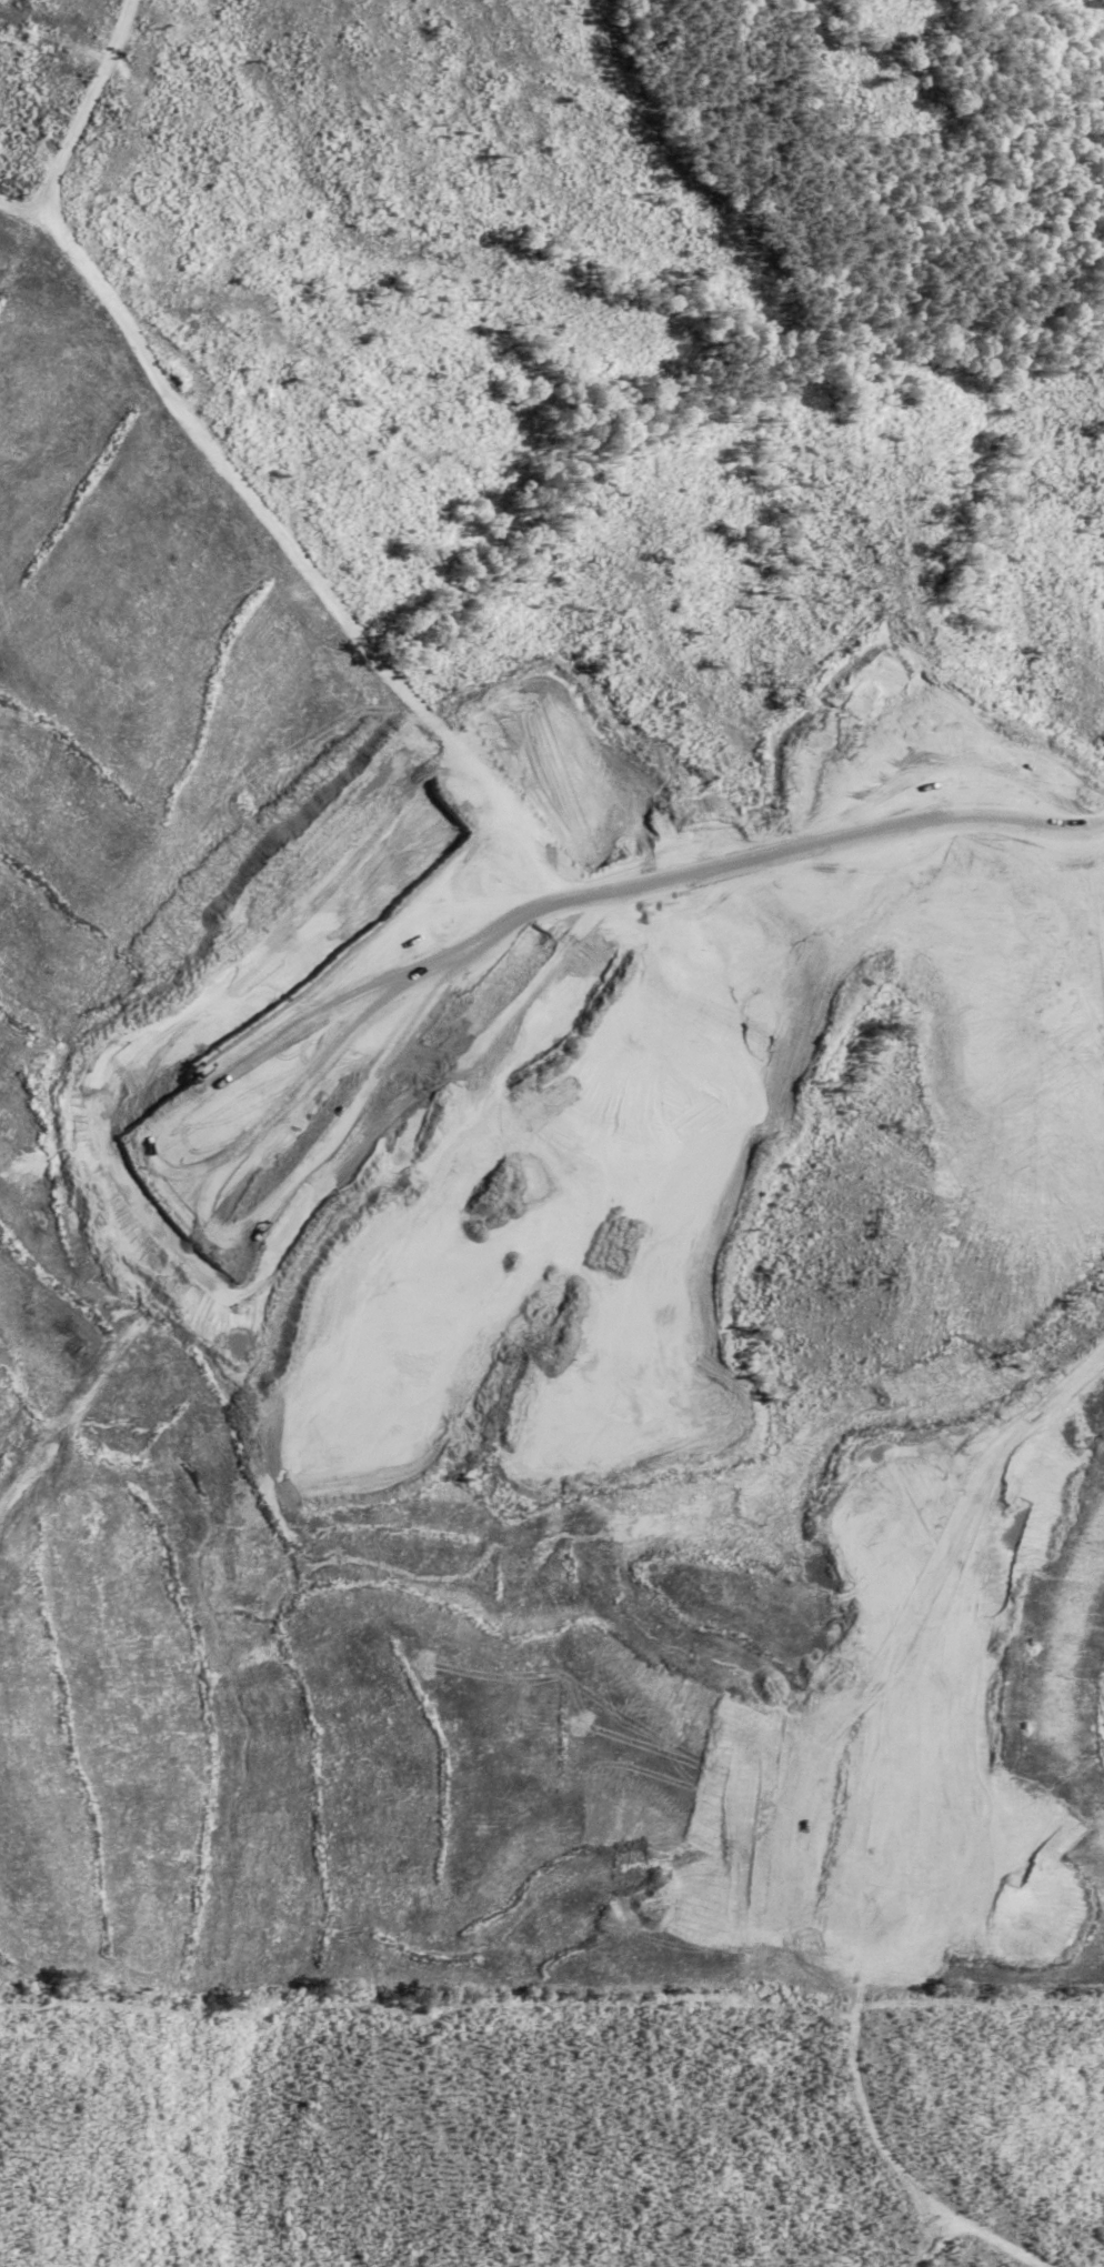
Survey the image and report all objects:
road: (409, 691)
road: (914, 1838)
road: (936, 2241)

